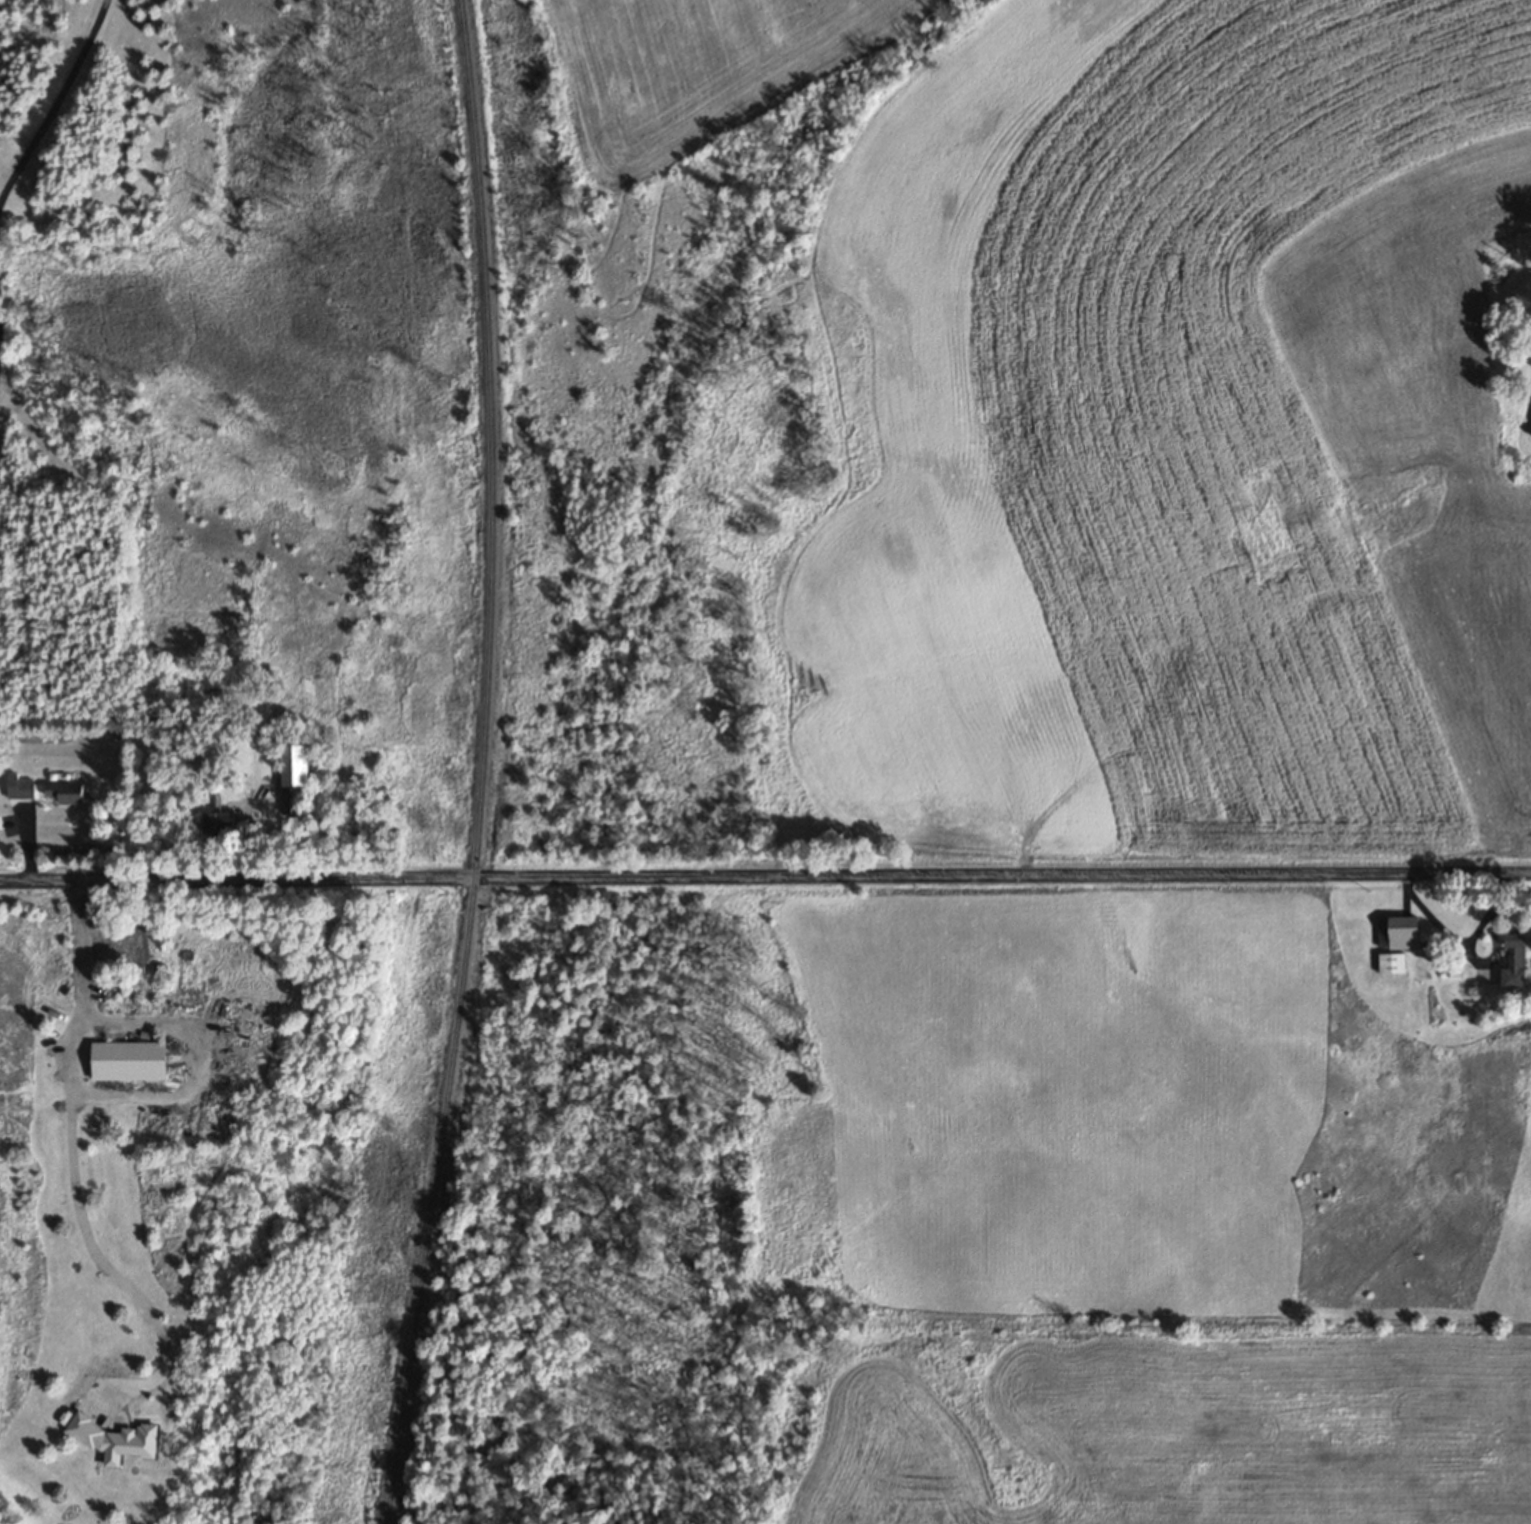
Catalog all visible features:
building: (1529, 351)
building: (3, 729)
railway: (484, 764)
building: (303, 775)
building: (26, 787)
building: (68, 791)
building: (225, 821)
road: (765, 875)
building: (1396, 932)
building: (123, 945)
building: (1388, 962)
building: (1504, 963)
building: (135, 1059)
road: (73, 1178)

